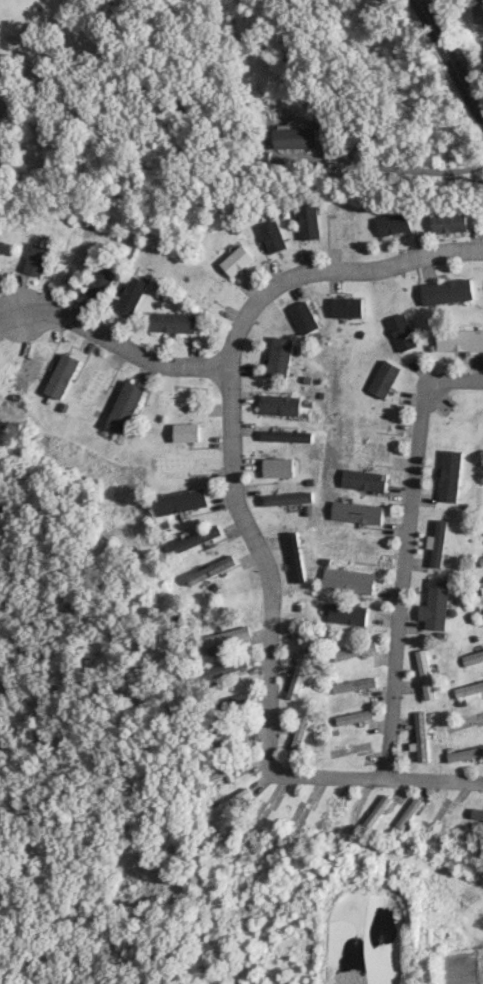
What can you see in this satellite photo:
building: (476, 10)
road: (455, 54)
building: (293, 137)
building: (258, 159)
road: (402, 168)
building: (306, 221)
building: (448, 222)
building: (392, 223)
building: (271, 236)
building: (33, 258)
building: (234, 260)
road: (328, 268)
building: (97, 280)
building: (444, 291)
building: (127, 294)
building: (344, 307)
building: (302, 317)
building: (169, 321)
building: (399, 332)
building: (458, 340)
road: (120, 348)
building: (23, 373)
building: (59, 374)
building: (381, 379)
building: (276, 404)
building: (122, 405)
building: (183, 431)
building: (282, 435)
building: (274, 467)
building: (446, 475)
building: (360, 480)
road: (234, 483)
building: (284, 498)
building: (178, 501)
building: (353, 512)
building: (481, 527)
building: (193, 539)
road: (403, 548)
building: (292, 556)
building: (479, 560)
building: (209, 570)
building: (344, 580)
building: (480, 589)
building: (431, 604)
building: (343, 613)
building: (222, 636)
building: (350, 651)
building: (470, 656)
building: (220, 669)
building: (294, 674)
building: (421, 674)
road: (266, 685)
building: (349, 685)
building: (466, 688)
building: (224, 703)
building: (349, 717)
building: (223, 733)
building: (294, 736)
building: (417, 736)
building: (462, 753)
building: (223, 768)
road: (378, 775)
building: (223, 804)
building: (373, 811)
building: (405, 812)
building: (475, 813)

